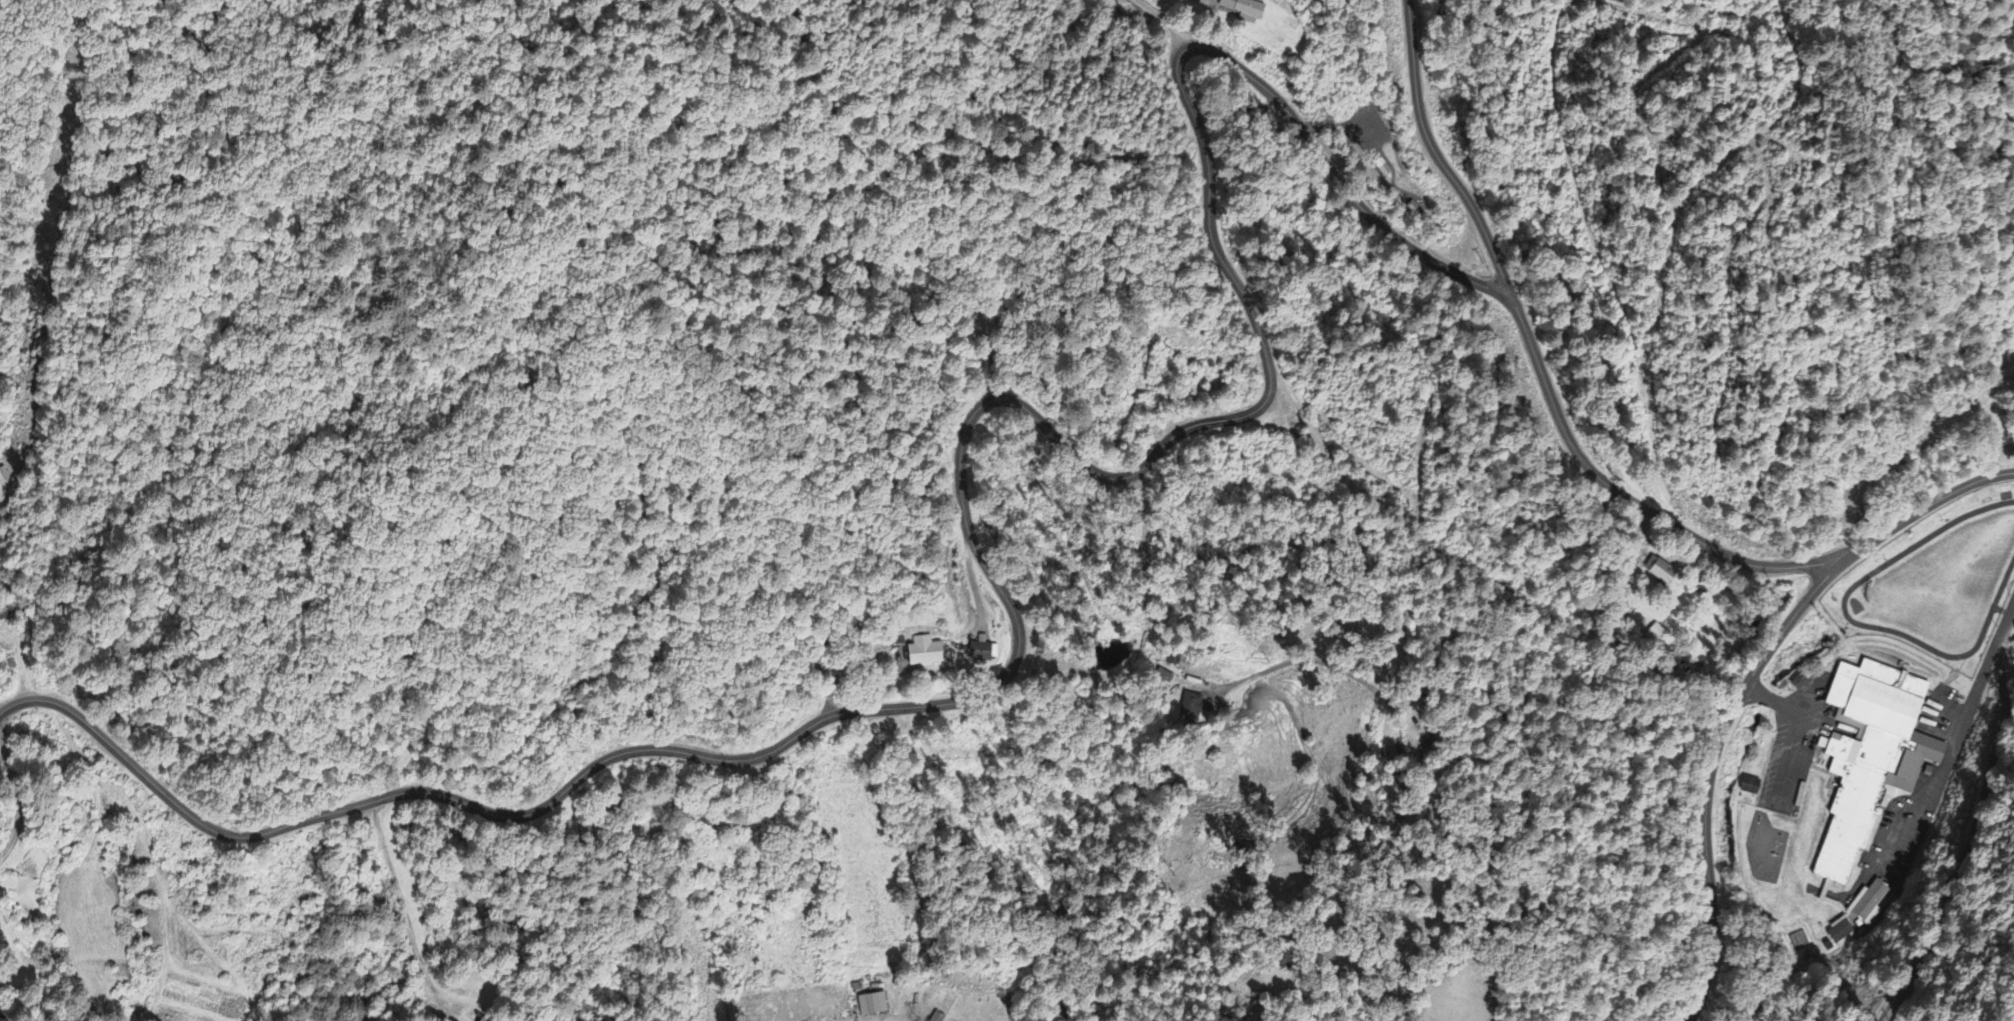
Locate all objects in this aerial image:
building: (1245, 10)
road: (1164, 22)
road: (1435, 154)
road: (1062, 446)
building: (1660, 572)
building: (927, 654)
building: (983, 655)
road: (1994, 665)
road: (2007, 673)
road: (1749, 684)
building: (1192, 709)
building: (1872, 757)
road: (14, 784)
building: (1753, 788)
road: (1945, 875)
building: (1871, 904)
road: (450, 927)
building: (1843, 934)
building: (874, 1007)
building: (485, 1020)

